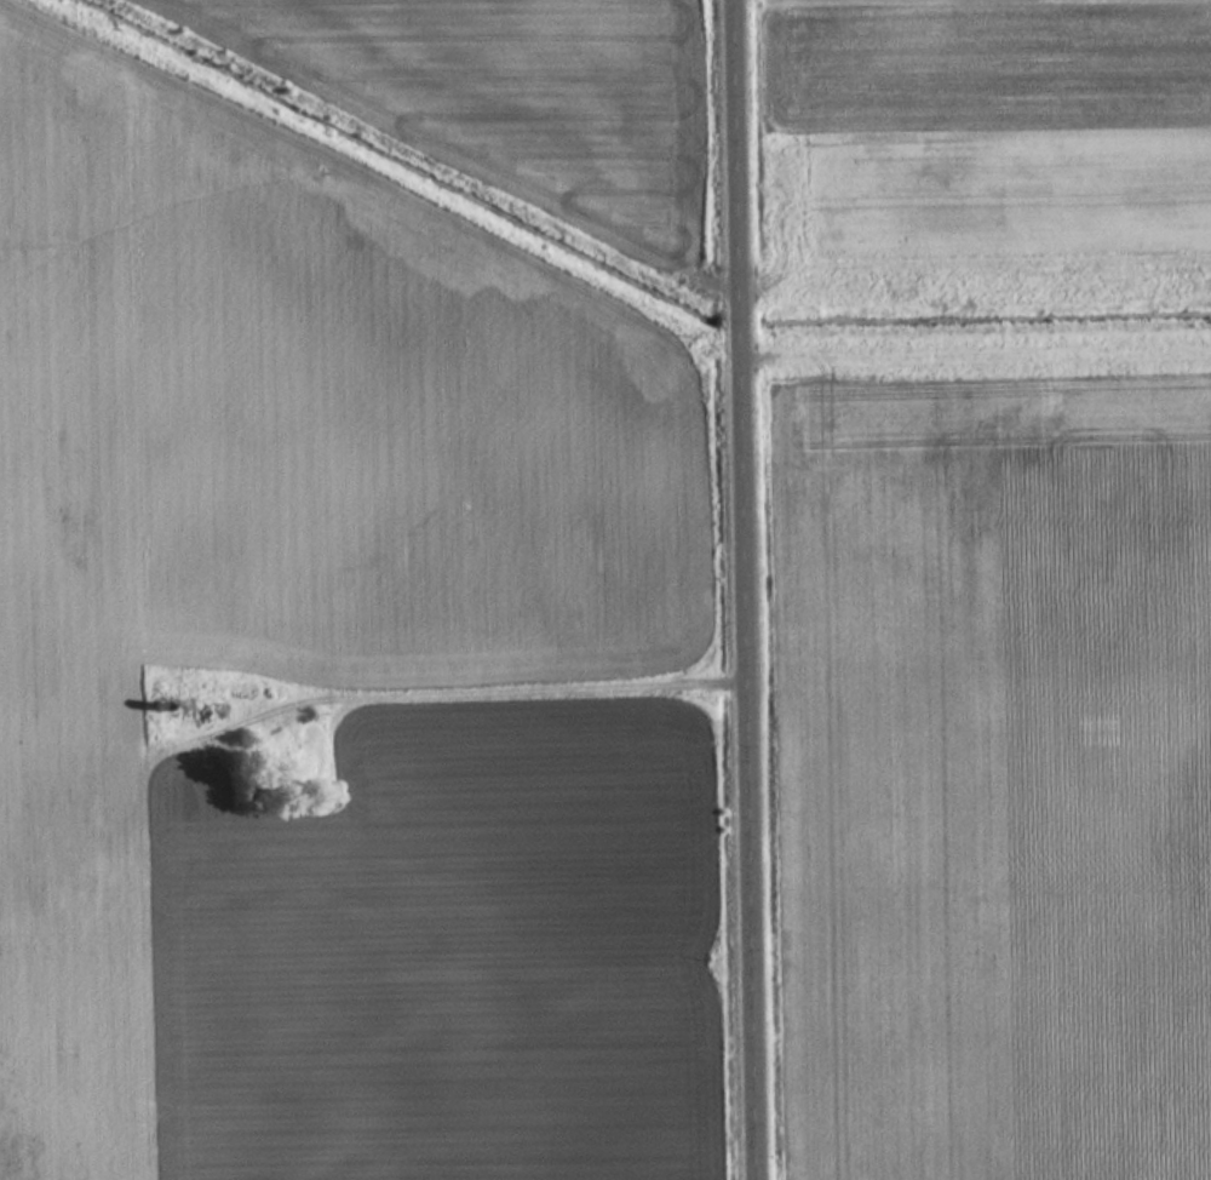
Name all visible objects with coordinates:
road: (742, 589)

